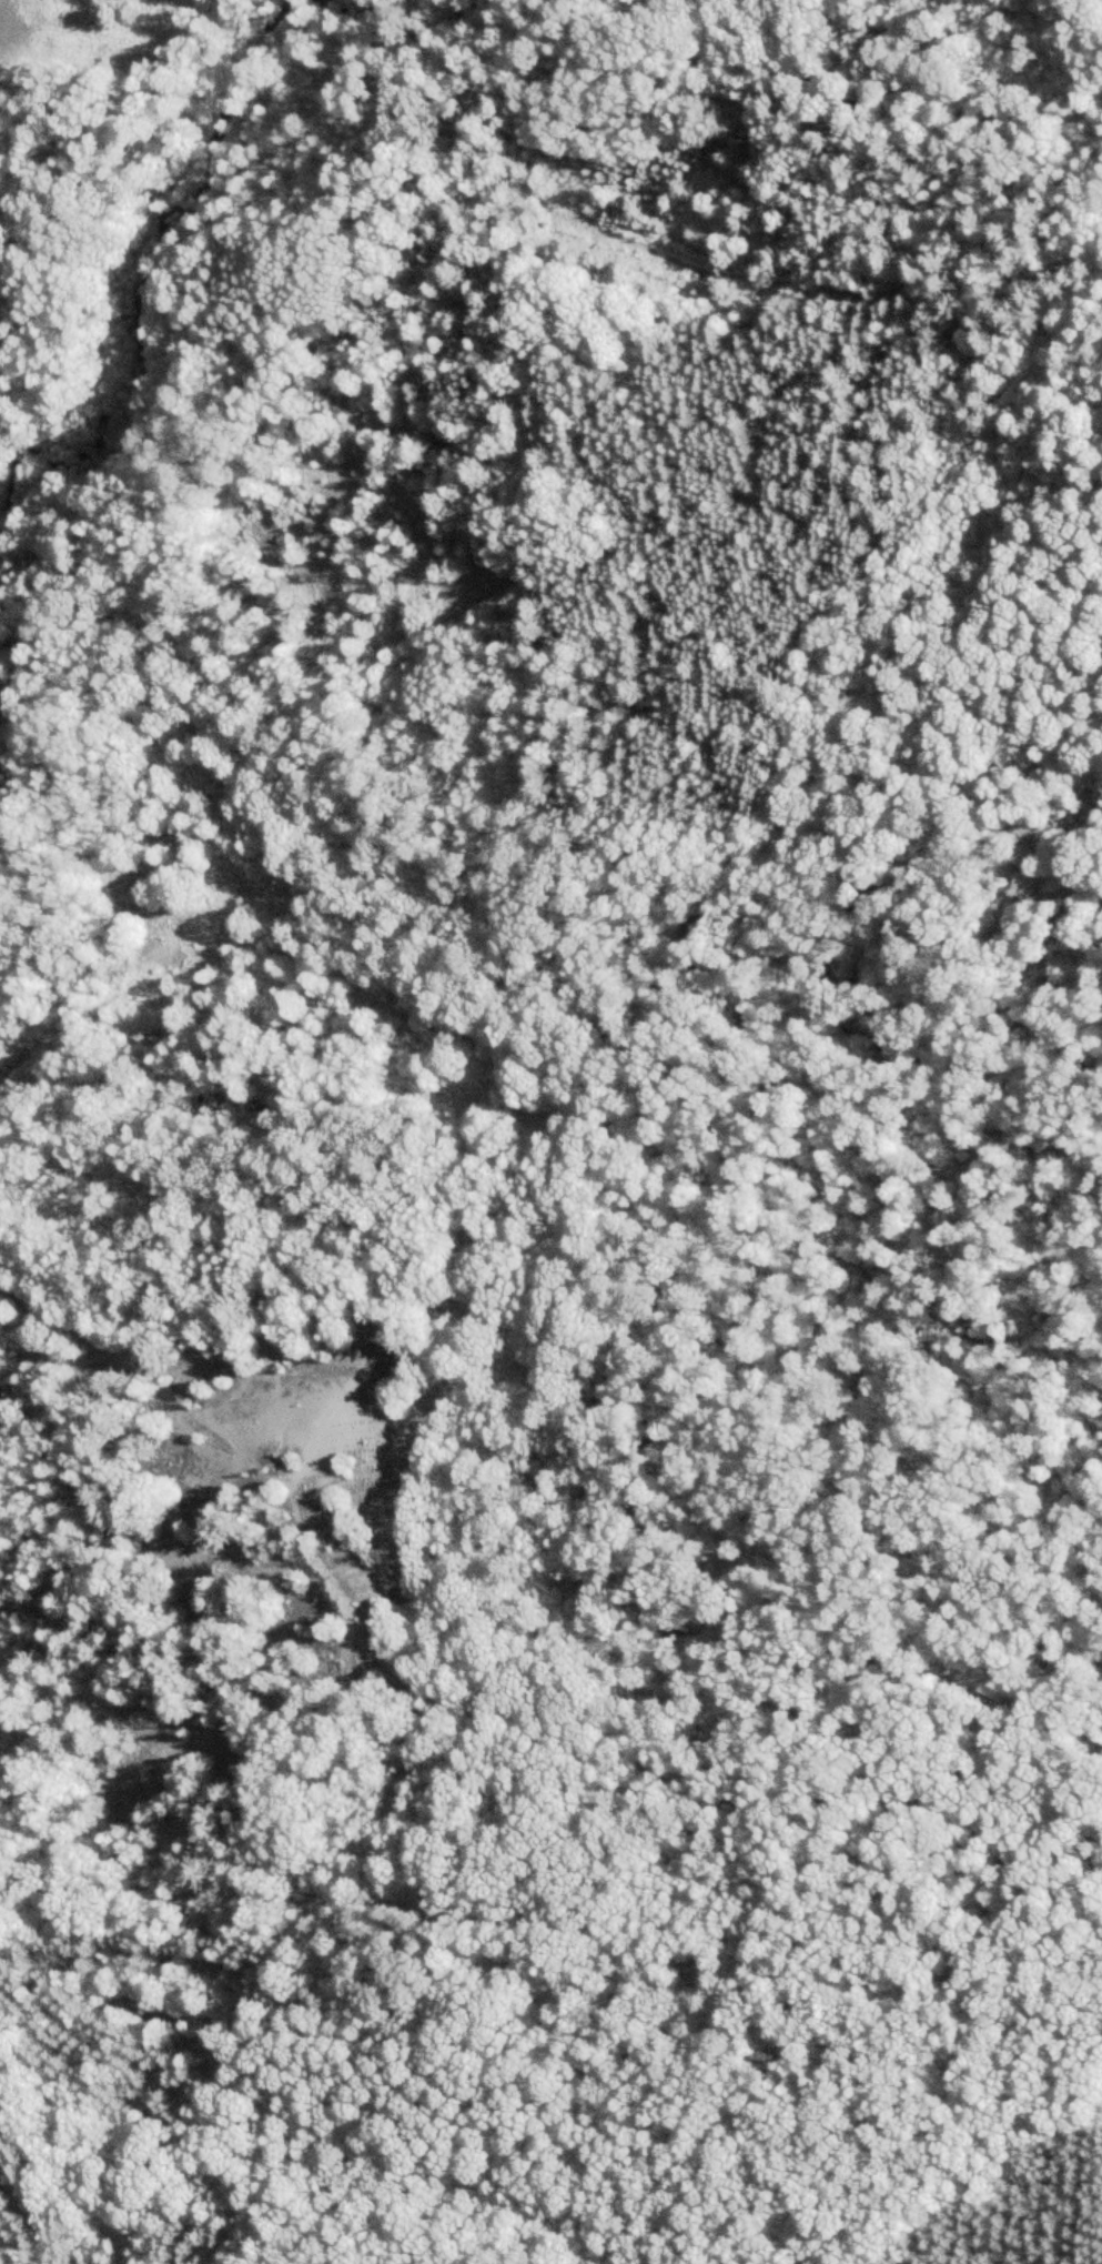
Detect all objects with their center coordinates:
road: (550, 1918)

